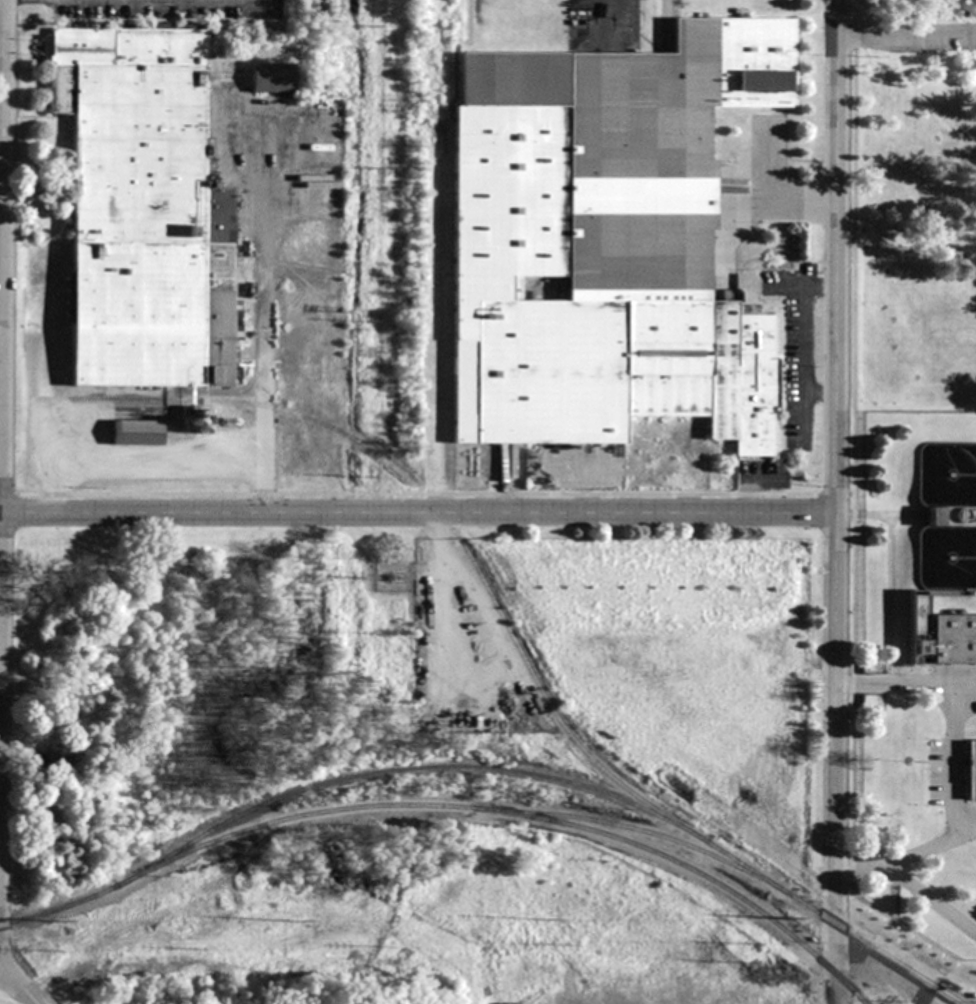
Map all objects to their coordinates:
road: (906, 27)
road: (0, 32)
building: (274, 79)
park: (913, 205)
building: (144, 210)
building: (606, 241)
road: (835, 256)
road: (803, 338)
road: (751, 483)
road: (416, 512)
railway: (444, 515)
building: (594, 555)
power substation: (394, 576)
building: (950, 640)
building: (715, 671)
wastewater plant: (913, 673)
power plant: (427, 718)
road: (833, 758)
road: (953, 763)
building: (972, 770)
railway: (538, 774)
railway: (451, 805)
railway: (654, 833)
road: (4, 970)
road: (883, 972)
road: (19, 986)
railway: (947, 994)

